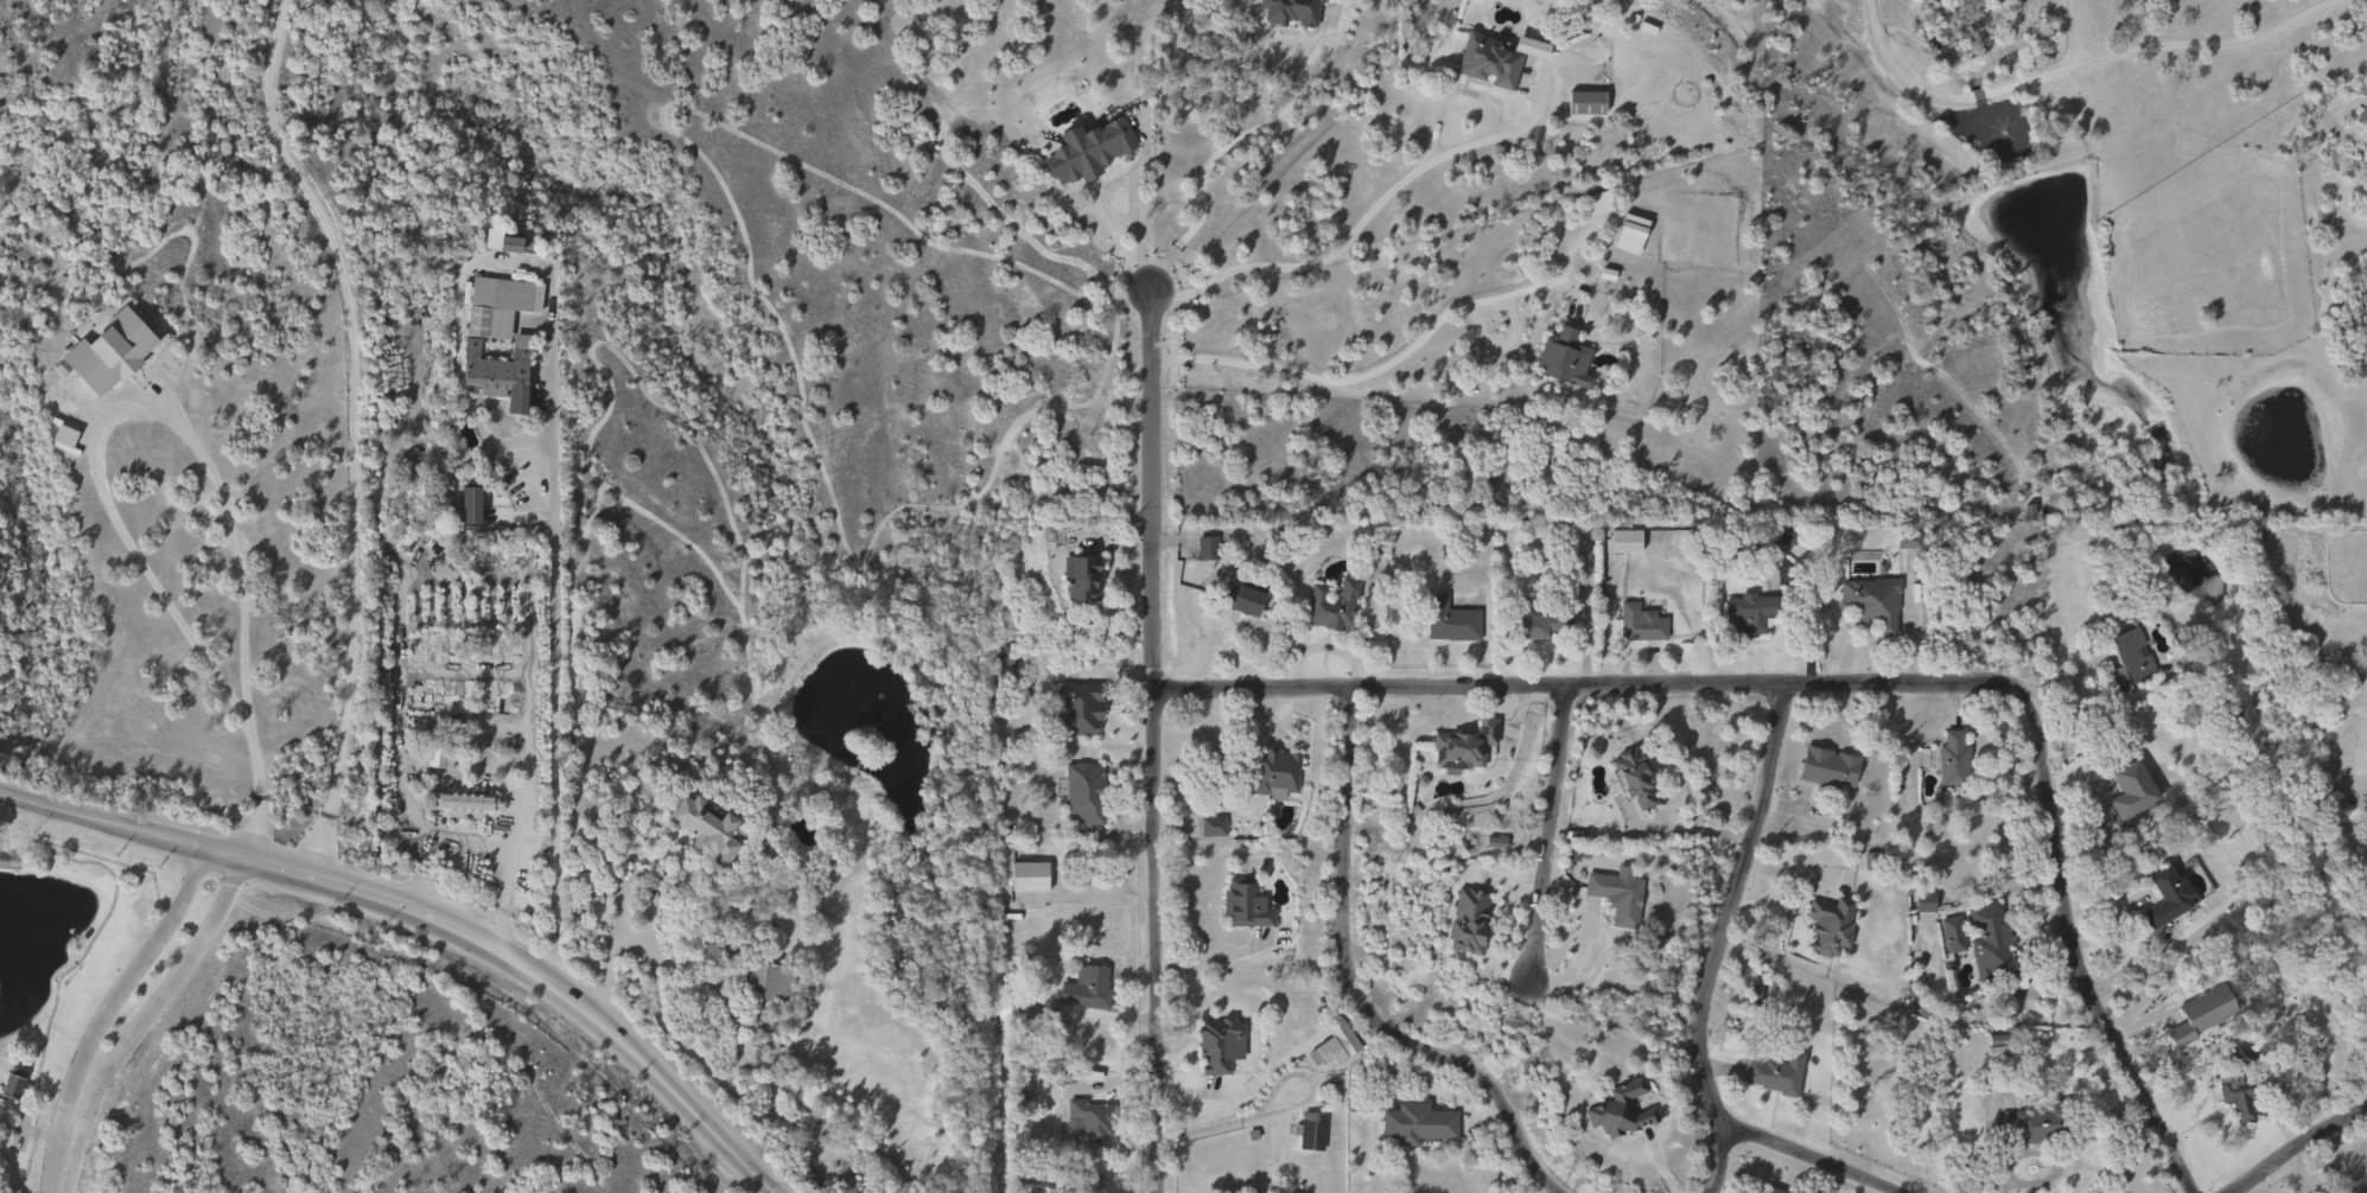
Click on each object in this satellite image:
building: (1296, 11)
road: (2073, 32)
road: (2161, 45)
building: (1485, 59)
road: (1894, 70)
road: (1975, 95)
building: (1583, 101)
building: (2361, 119)
road: (1223, 147)
building: (1082, 148)
road: (1391, 189)
building: (1592, 202)
road: (1128, 204)
building: (1627, 232)
building: (517, 350)
building: (106, 355)
building: (1561, 359)
road: (1386, 364)
road: (185, 422)
road: (351, 430)
road: (1148, 491)
building: (1621, 540)
building: (1905, 541)
building: (1205, 548)
building: (1084, 579)
building: (1236, 596)
building: (1869, 604)
building: (1329, 606)
building: (1746, 614)
building: (1447, 621)
building: (1536, 624)
building: (1637, 624)
building: (1003, 652)
building: (2126, 661)
road: (552, 676)
road: (1857, 681)
building: (1077, 707)
building: (1462, 747)
building: (1953, 760)
building: (1825, 768)
building: (1278, 772)
building: (1629, 778)
building: (1088, 791)
building: (2130, 791)
building: (464, 805)
building: (1217, 825)
building: (704, 828)
road: (1551, 830)
building: (1008, 836)
road: (275, 866)
building: (1033, 875)
building: (1615, 895)
building: (1919, 895)
building: (2164, 899)
building: (1248, 902)
building: (1828, 924)
building: (1952, 934)
road: (1583, 936)
road: (1720, 938)
road: (1151, 940)
building: (1990, 943)
road: (606, 953)
road: (122, 980)
building: (770, 982)
road: (1360, 988)
building: (1090, 989)
road: (161, 995)
building: (1010, 1012)
building: (2199, 1013)
building: (1064, 1032)
building: (1214, 1041)
building: (1334, 1044)
building: (1997, 1053)
building: (1774, 1072)
road: (662, 1078)
building: (14, 1085)
road: (1228, 1095)
building: (2238, 1098)
building: (1618, 1110)
building: (1093, 1121)
building: (1413, 1125)
building: (2023, 1125)
building: (1311, 1130)
road: (2296, 1143)
road: (1813, 1155)
road: (63, 1160)
building: (1092, 1184)
building: (1770, 1189)

